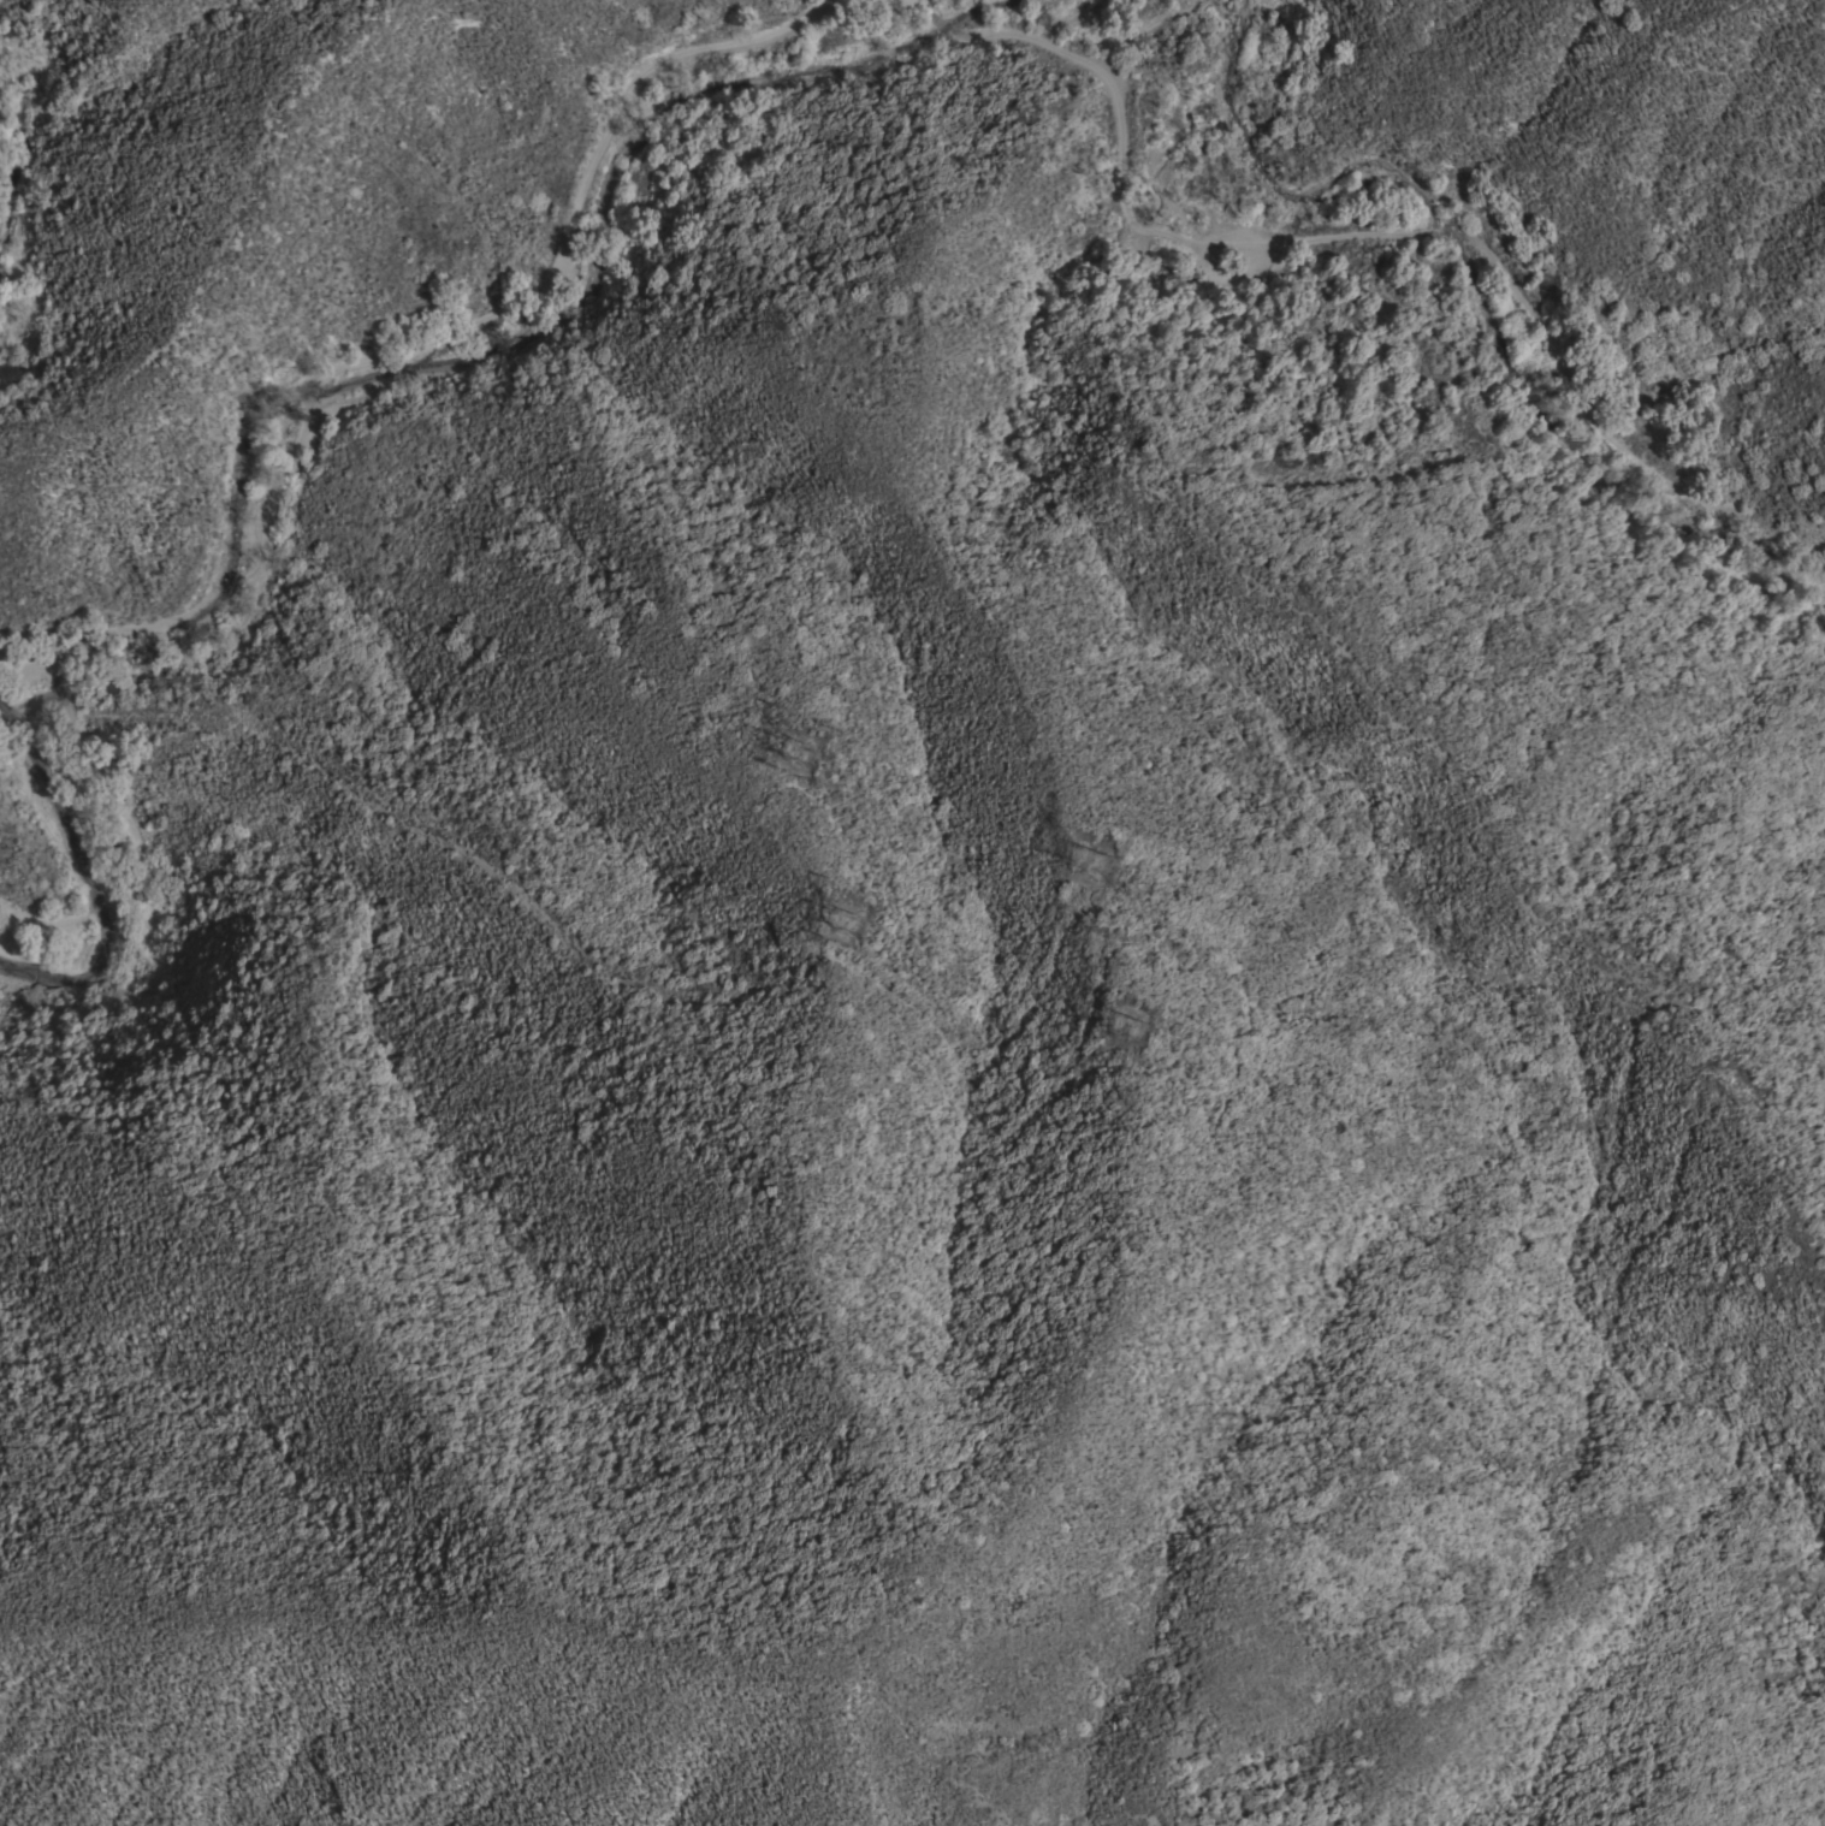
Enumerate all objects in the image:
road: (1356, 238)
road: (266, 411)
power tower: (798, 759)
power tower: (1090, 872)
power tower: (855, 930)
power tower: (1137, 1044)

